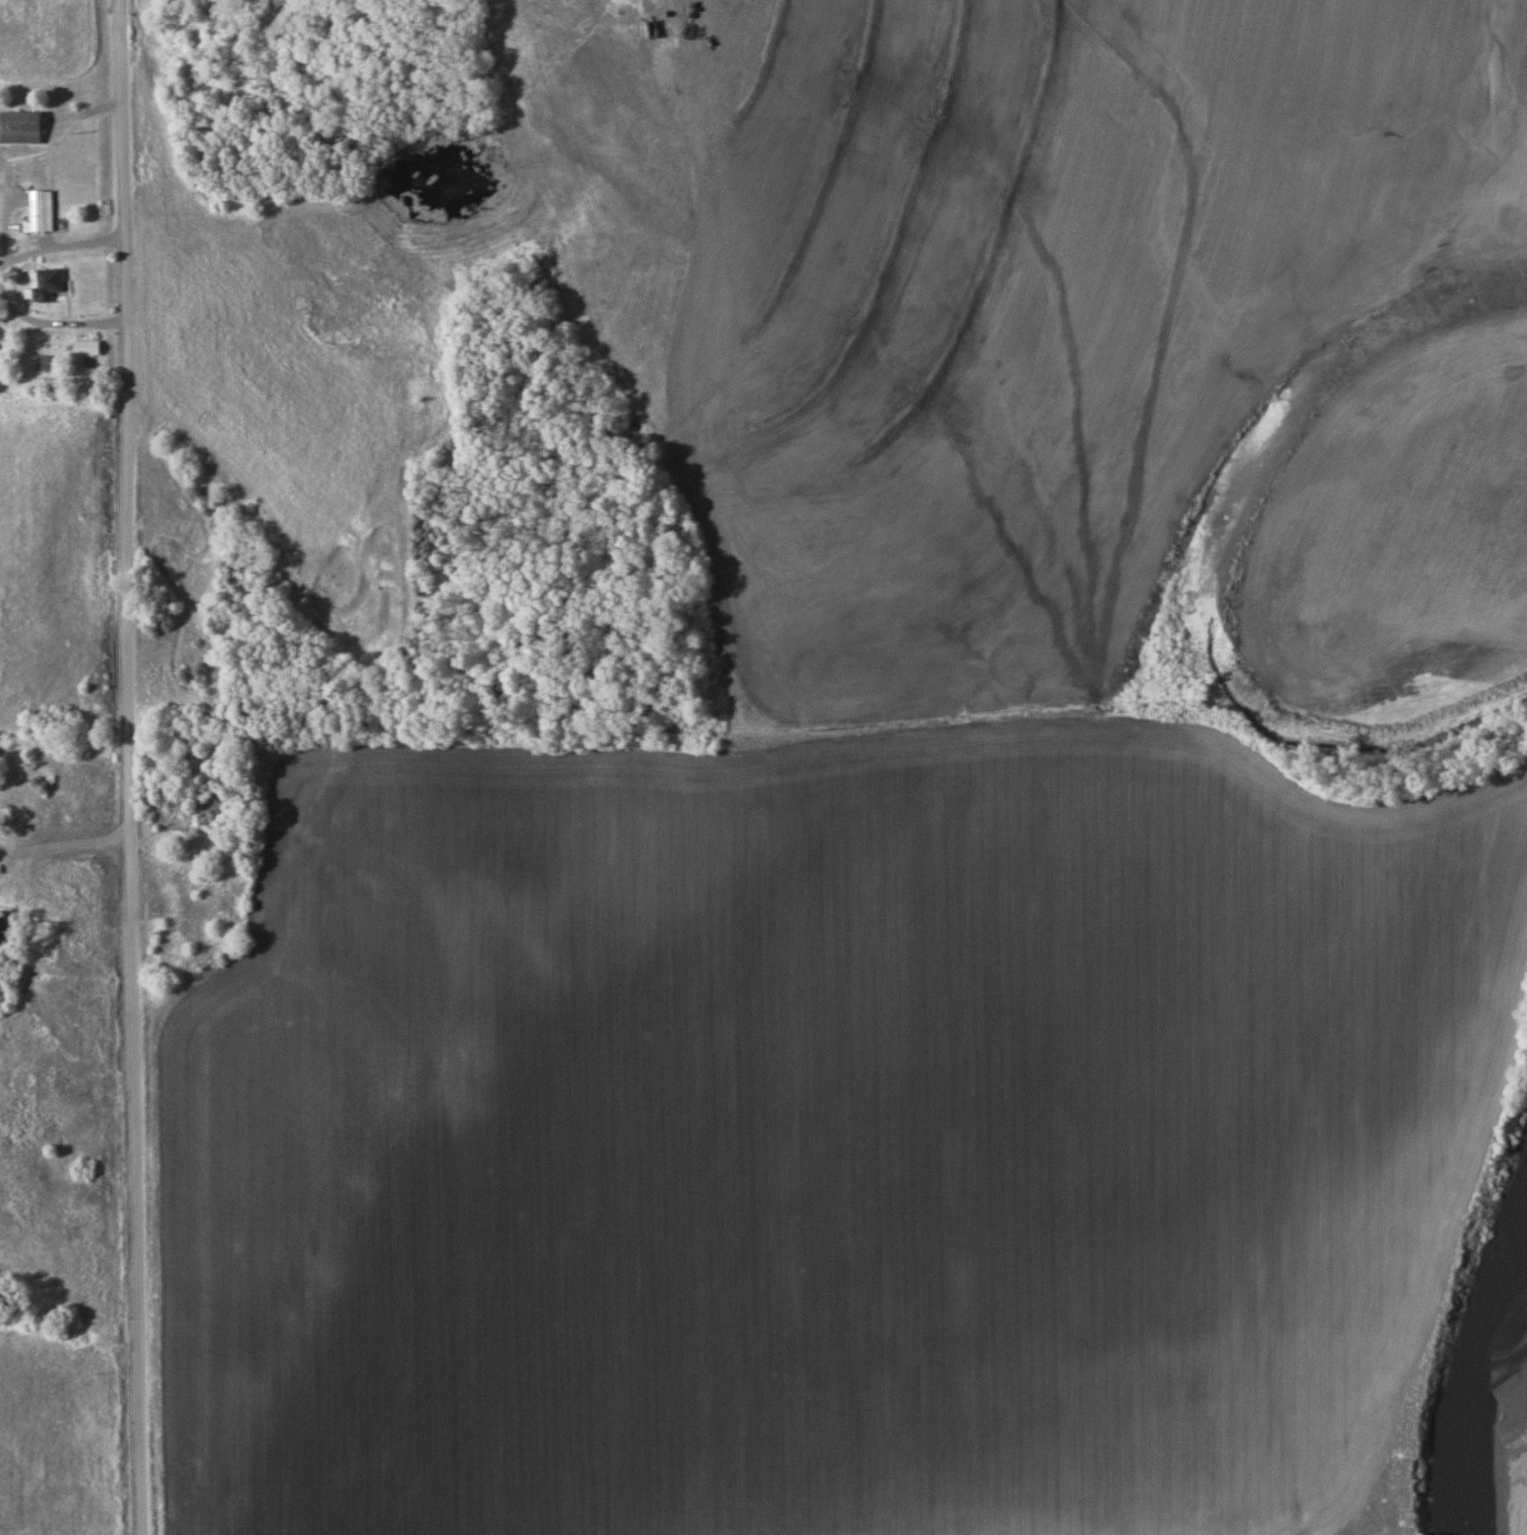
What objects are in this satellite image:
building: (21, 128)
building: (41, 215)
building: (46, 284)
road: (5, 289)
building: (85, 349)
road: (134, 767)
road: (65, 852)

